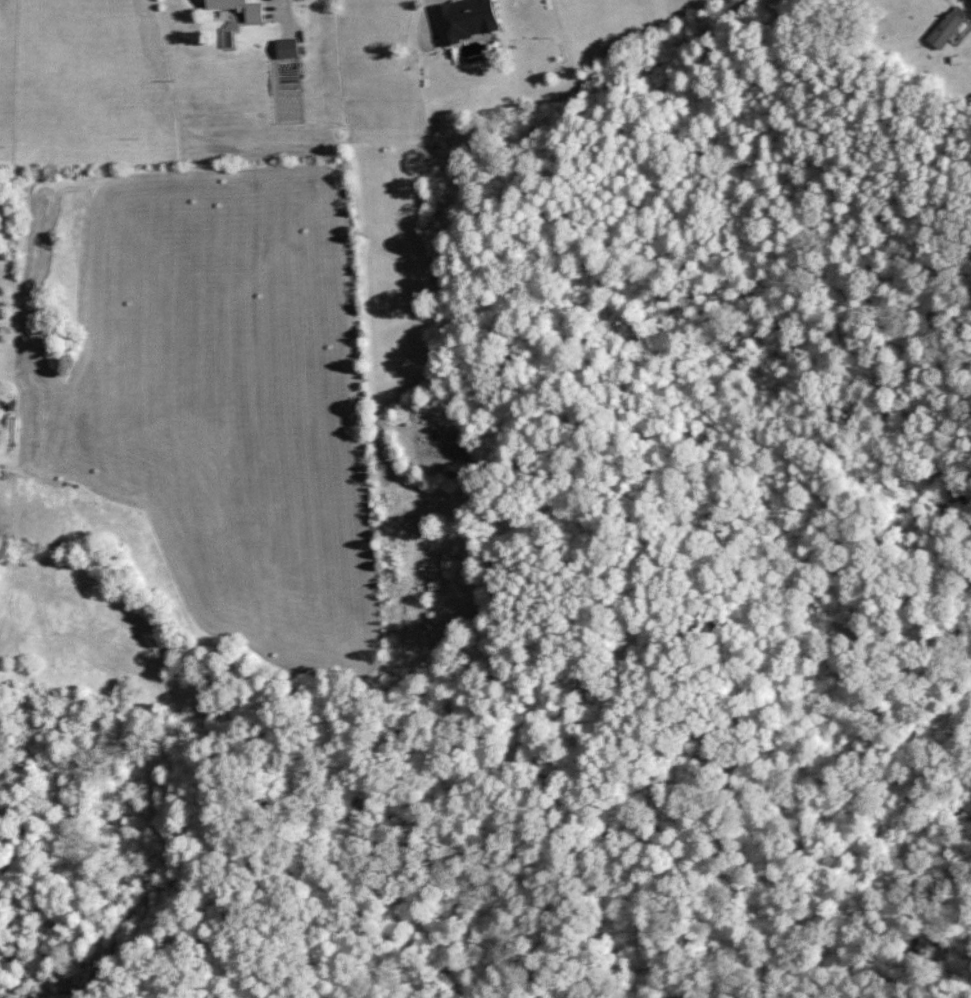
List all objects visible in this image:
building: (236, 7)
building: (462, 19)
building: (945, 27)
building: (285, 48)
road: (18, 359)
building: (8, 431)

